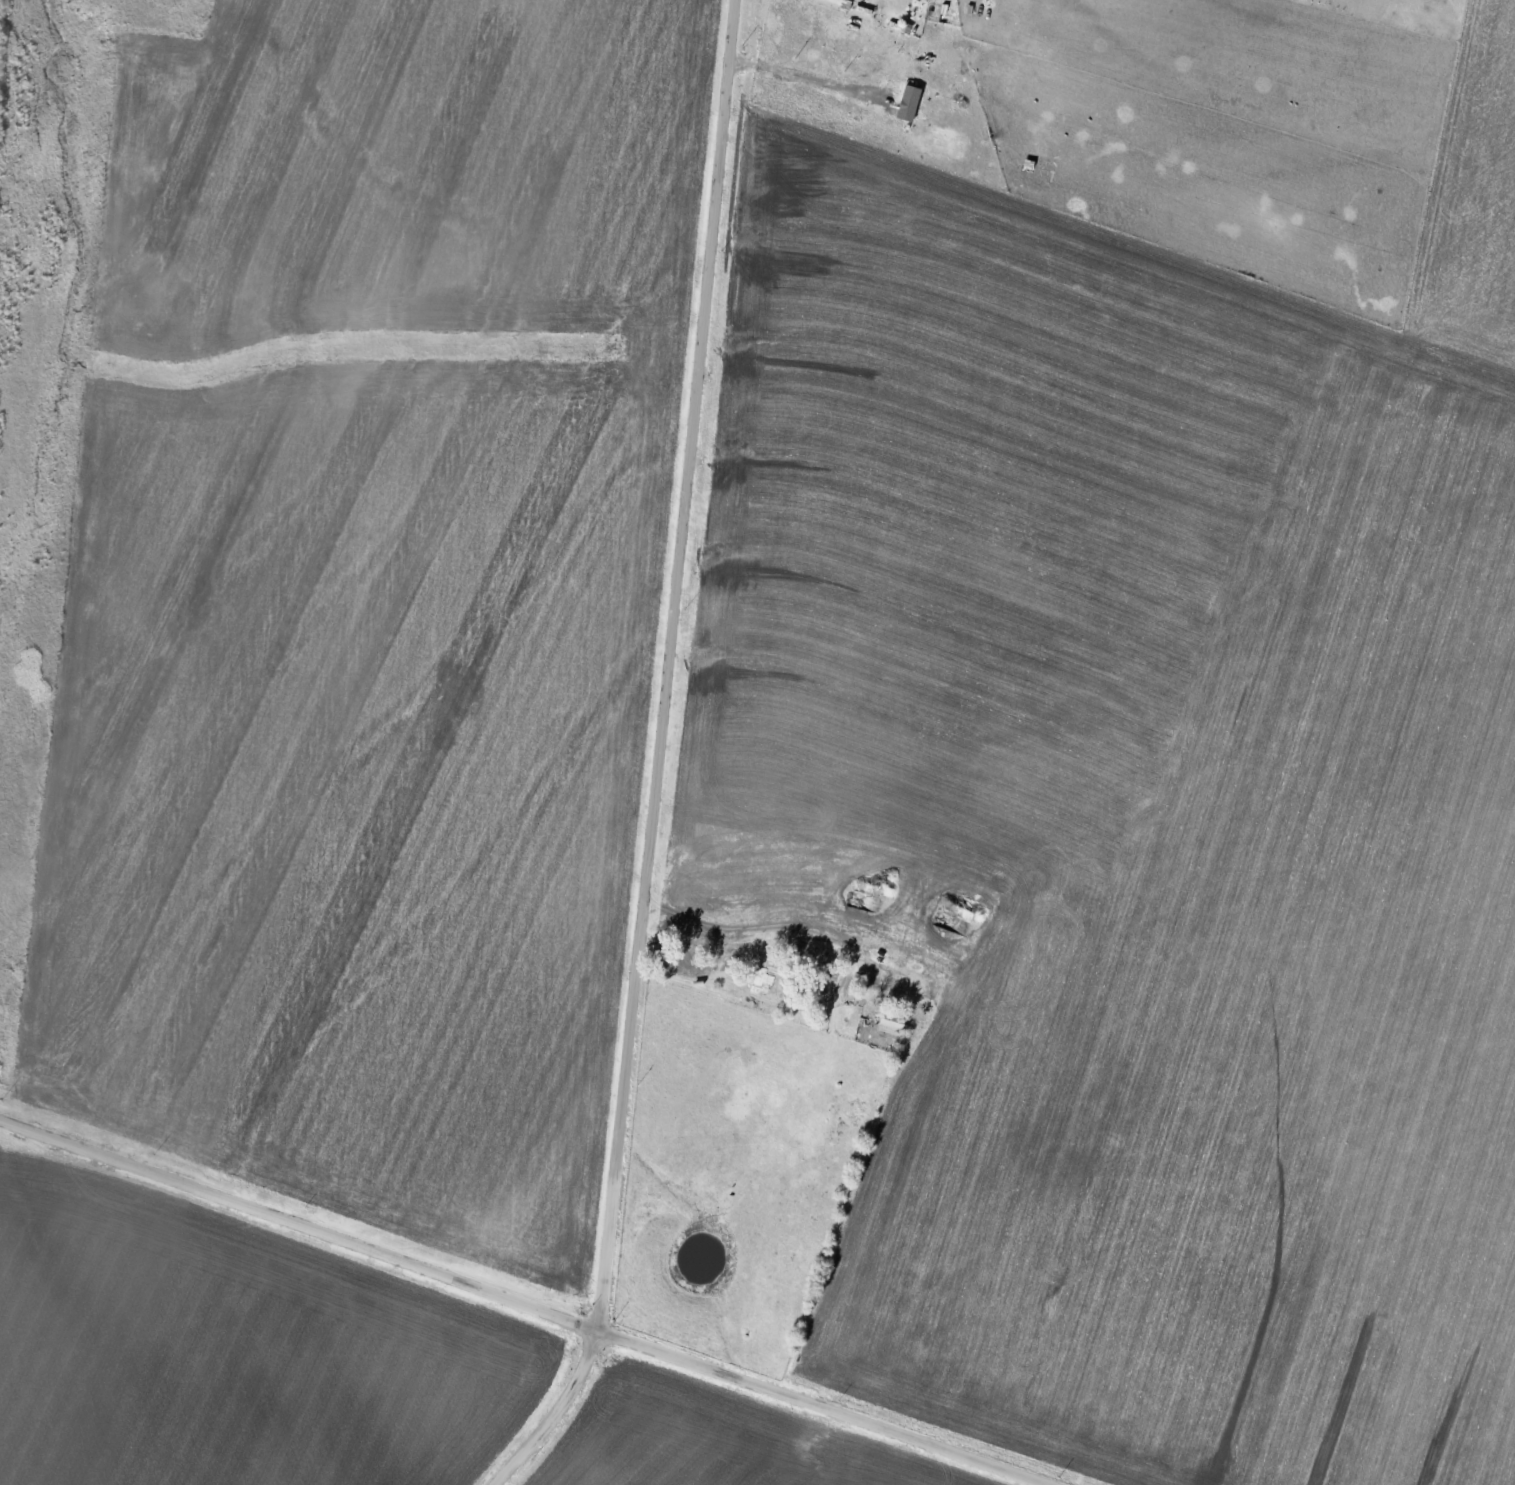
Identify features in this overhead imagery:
road: (810, 80)
building: (910, 102)
road: (669, 665)
building: (765, 978)
road: (524, 1305)
road: (557, 1414)

